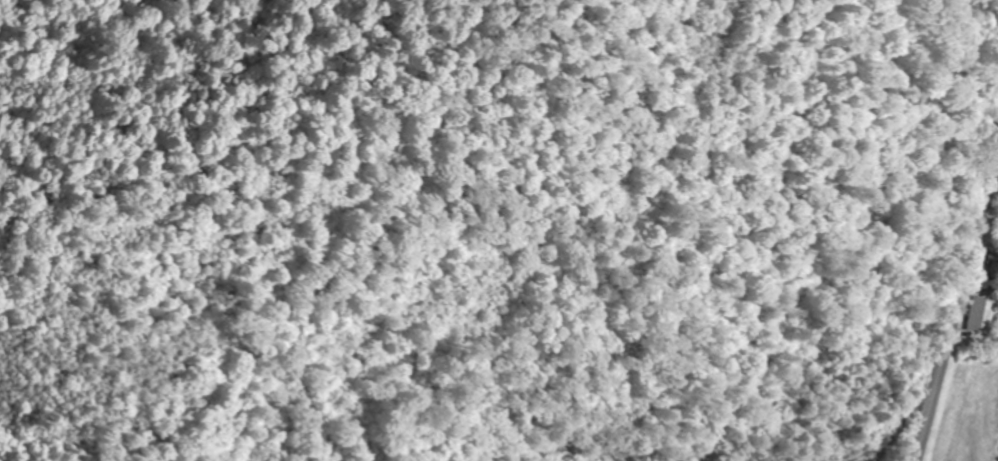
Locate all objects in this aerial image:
road: (960, 304)

